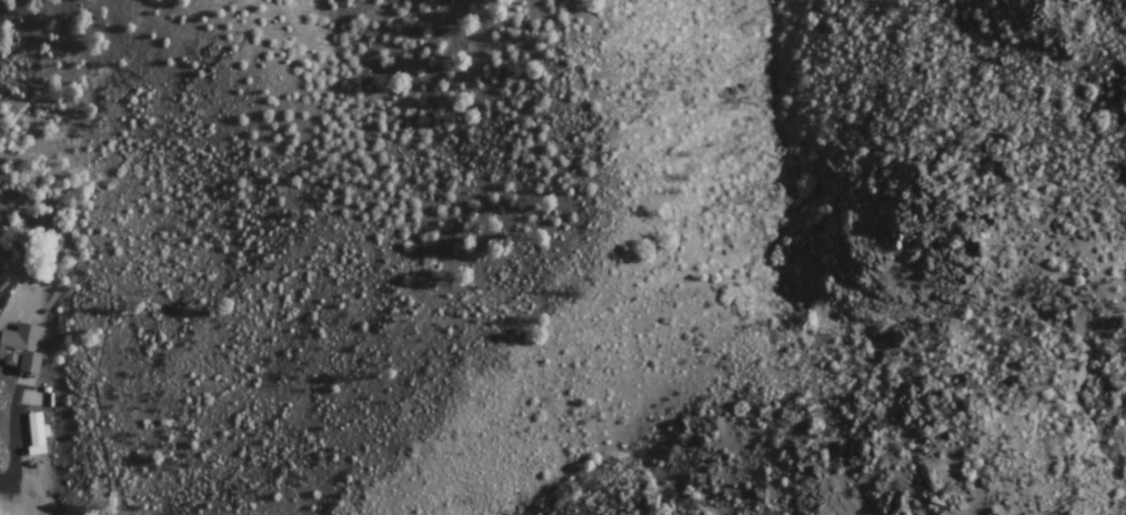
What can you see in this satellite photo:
building: (23, 349)
building: (38, 425)

